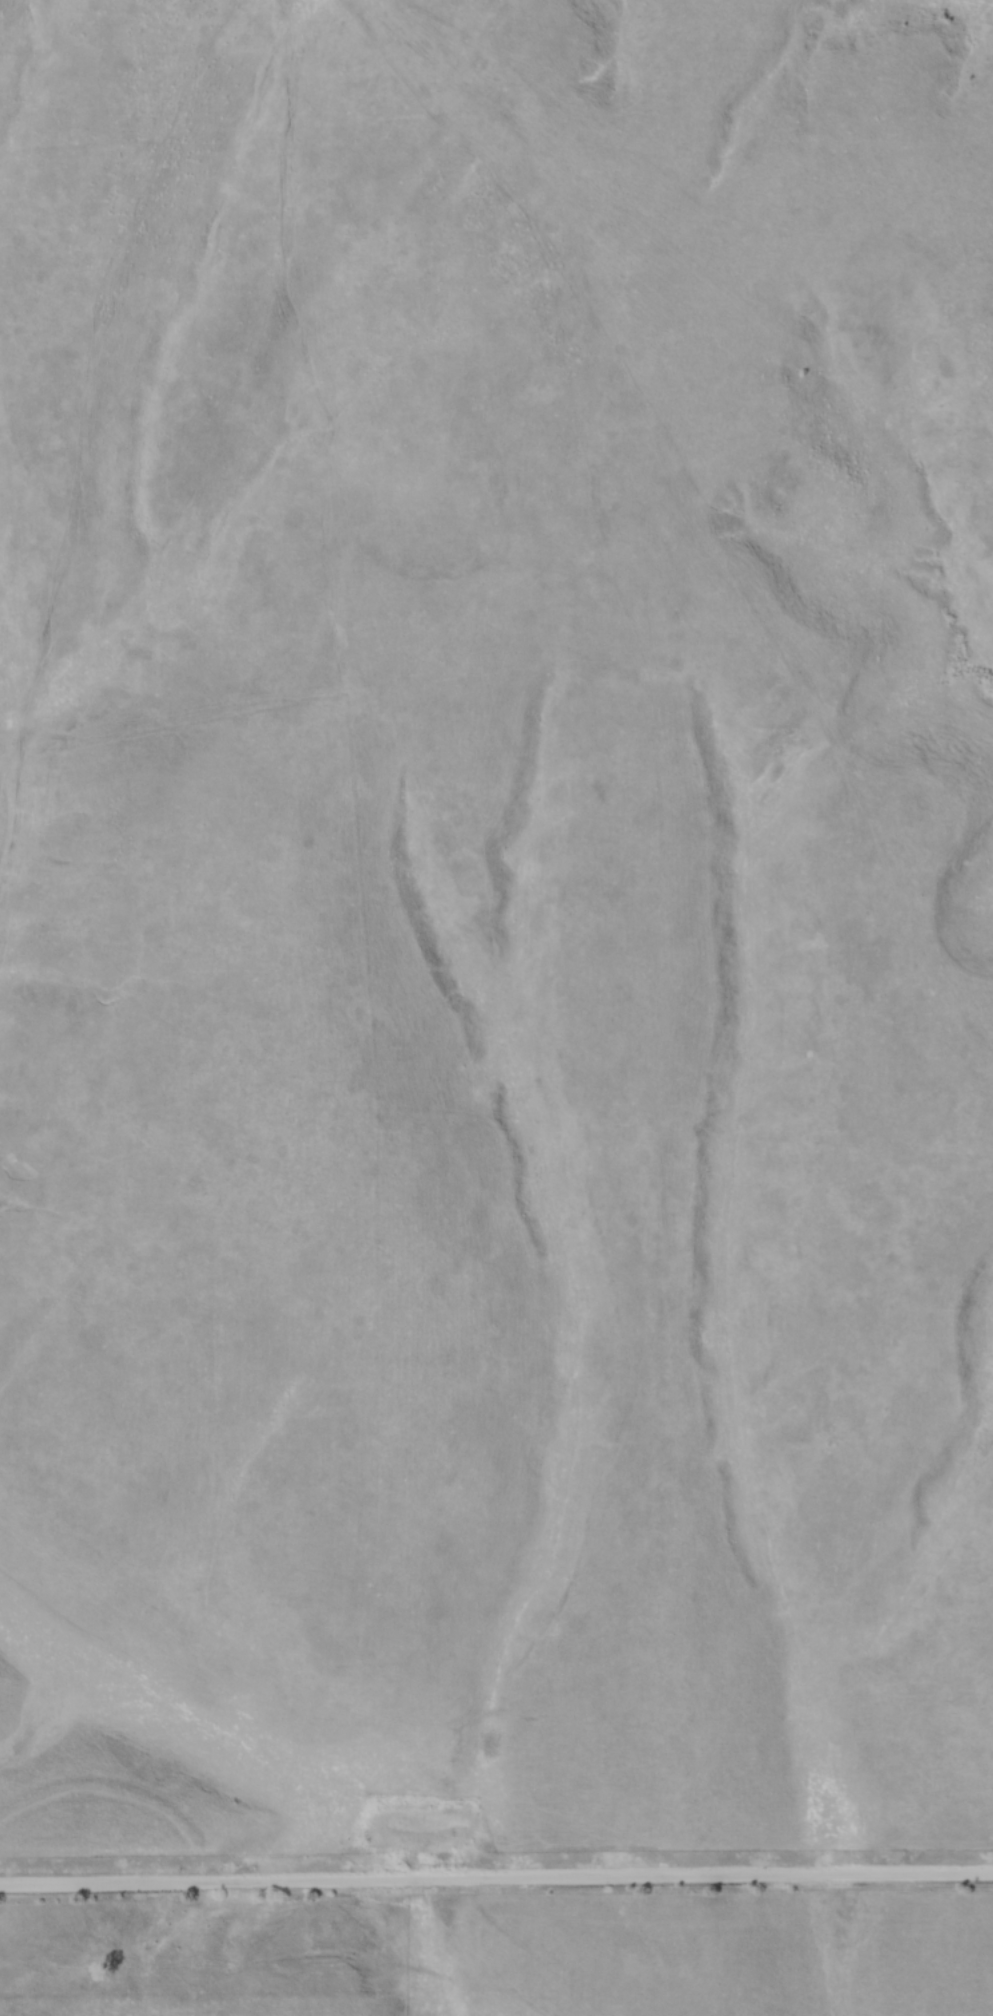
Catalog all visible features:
road: (496, 1877)

